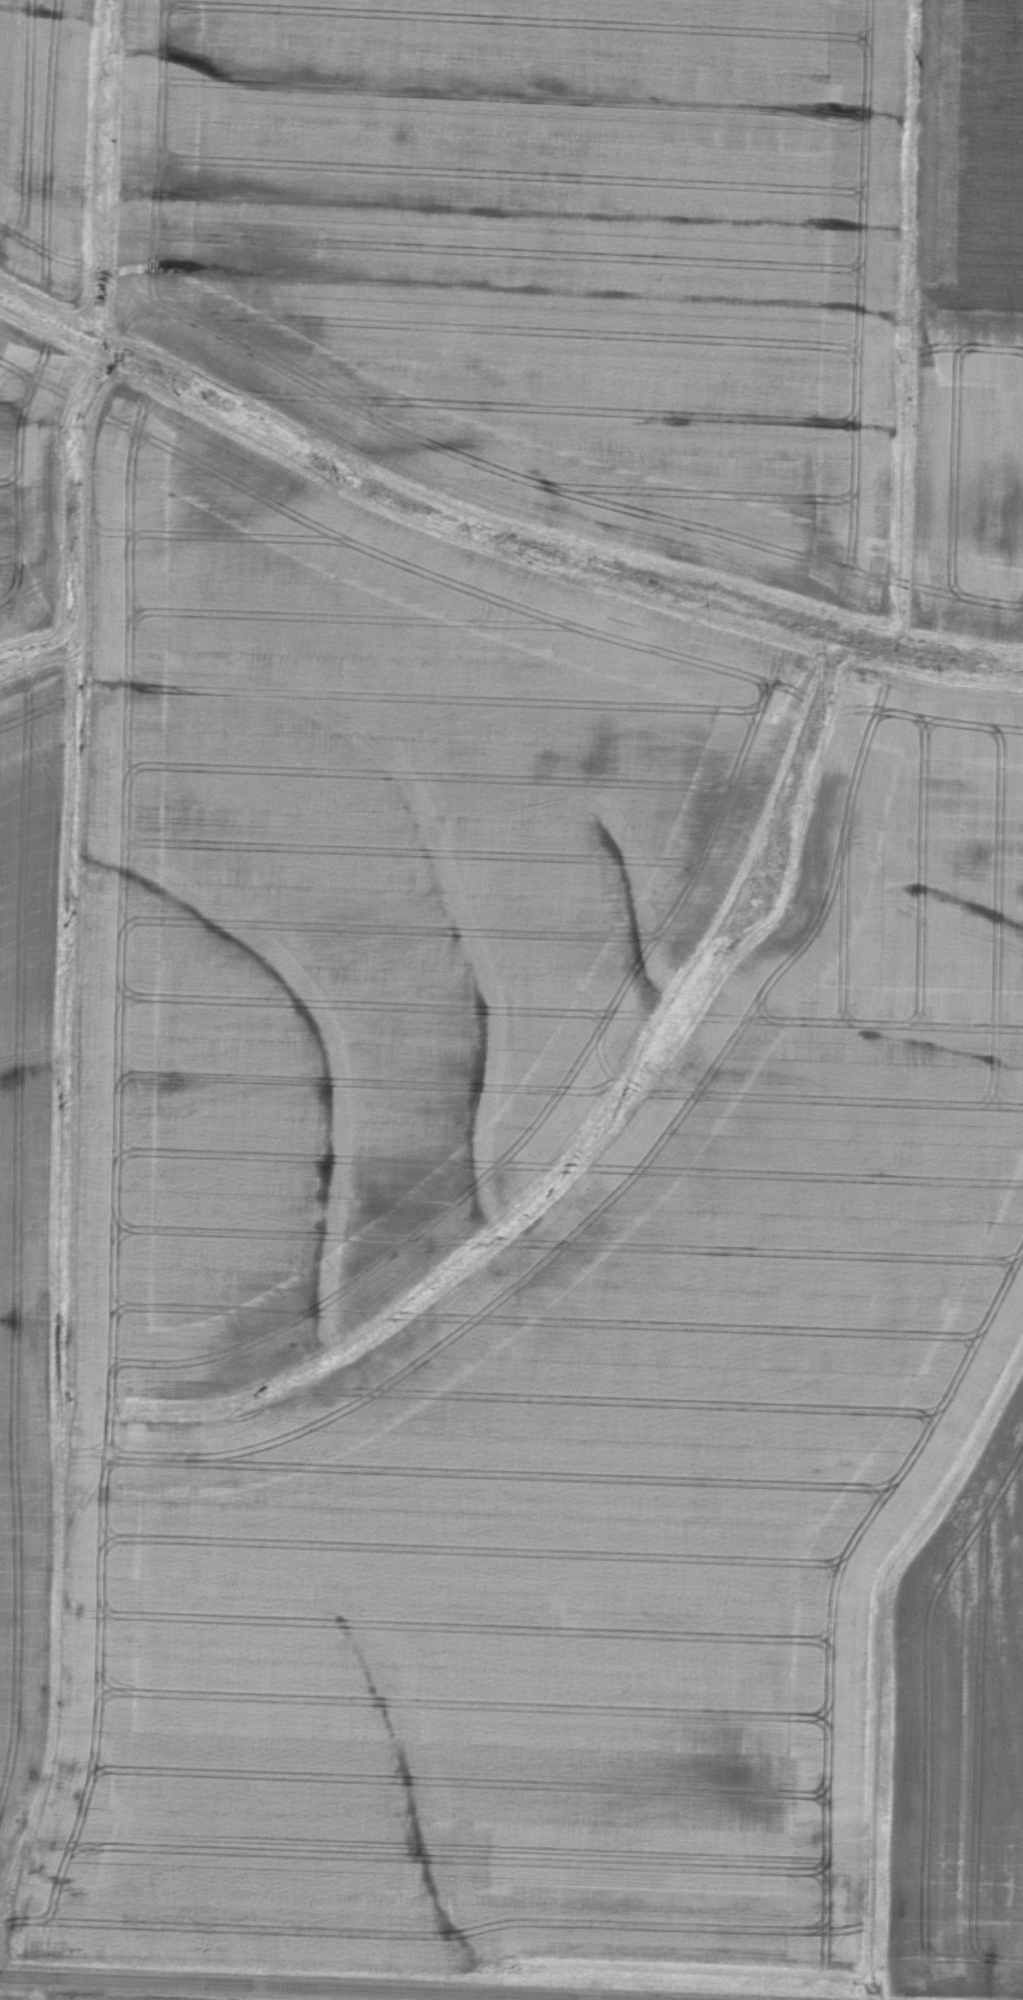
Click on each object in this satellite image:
road: (332, 1986)

